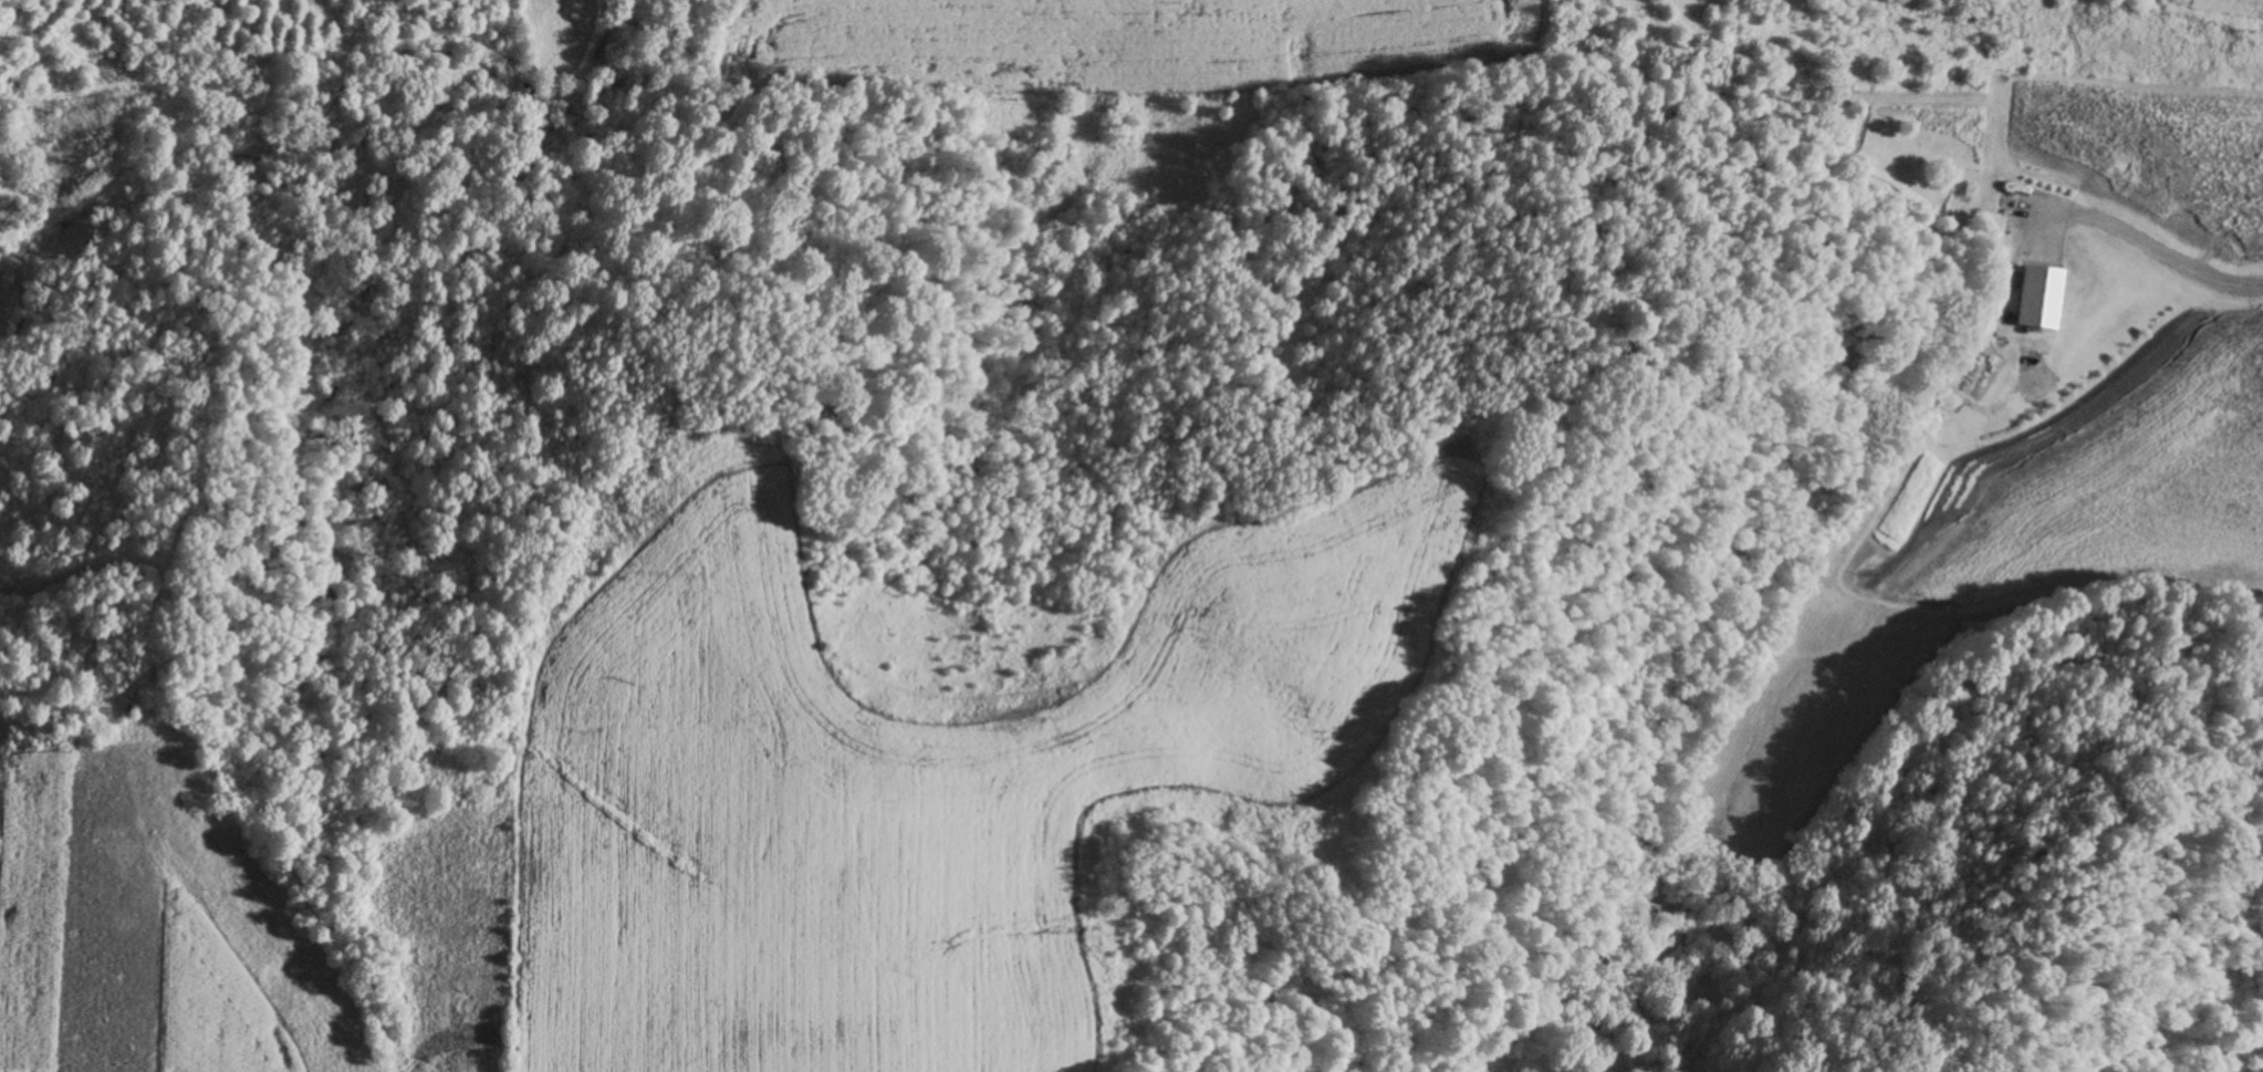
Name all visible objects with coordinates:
road: (2152, 243)
building: (2041, 296)

